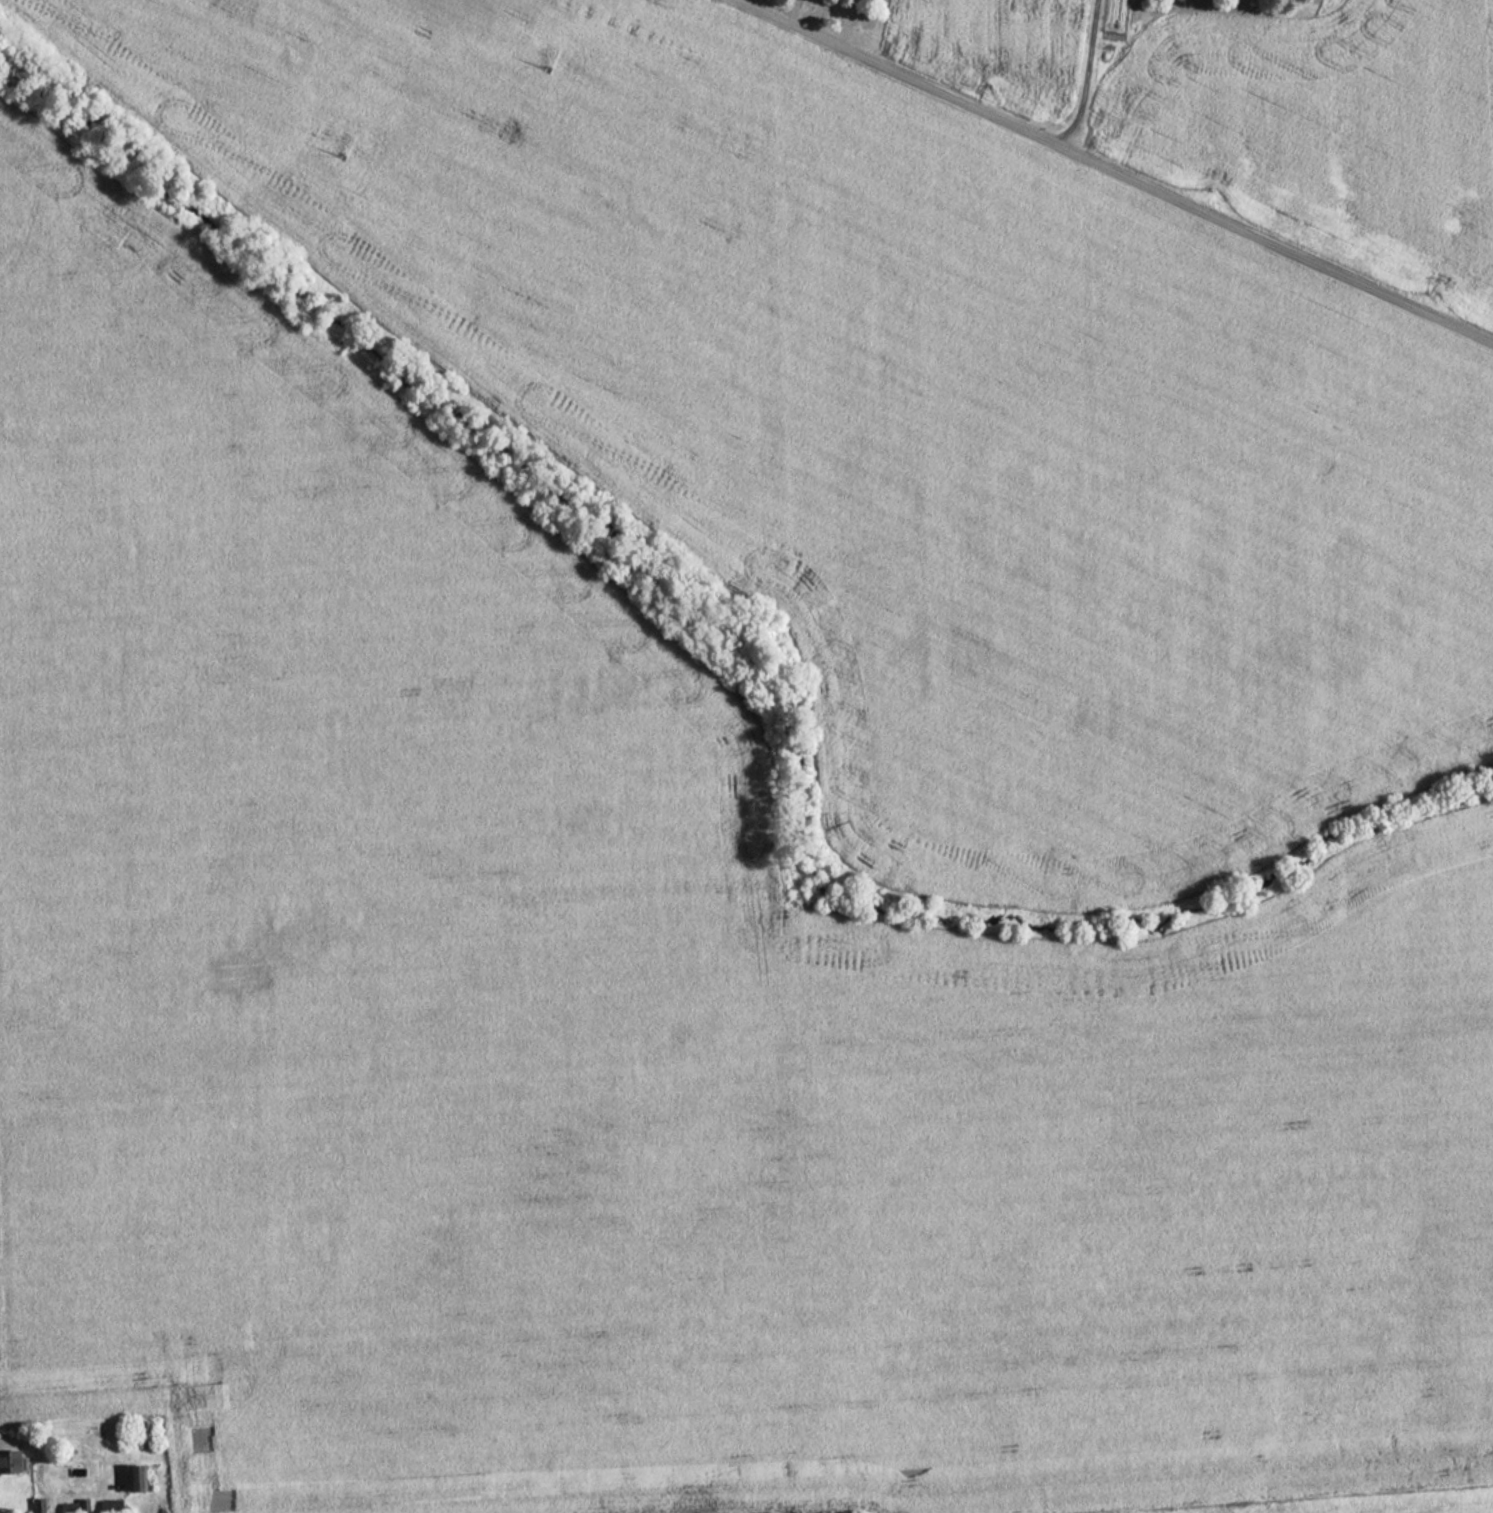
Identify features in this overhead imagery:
road: (1085, 73)
road: (1116, 168)
building: (8, 1462)
building: (131, 1478)
building: (33, 1505)

